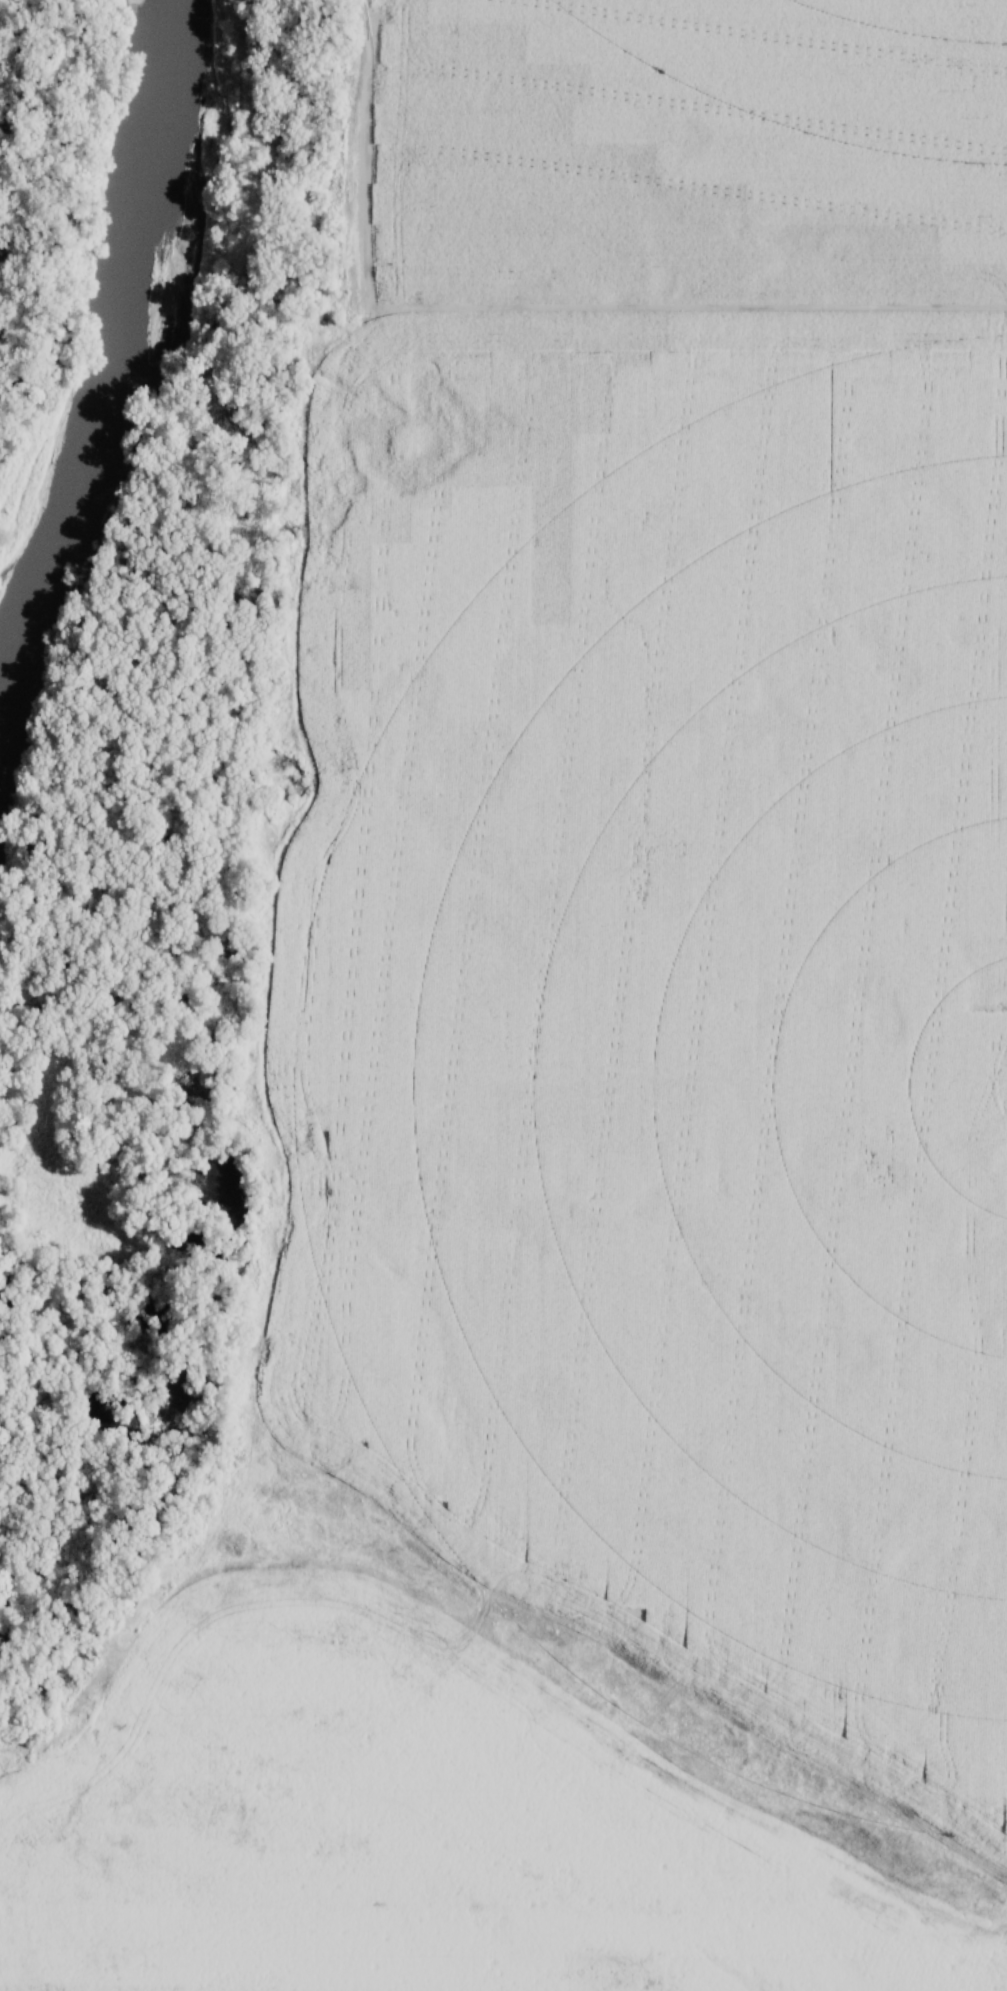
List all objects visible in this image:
river: (95, 397)

